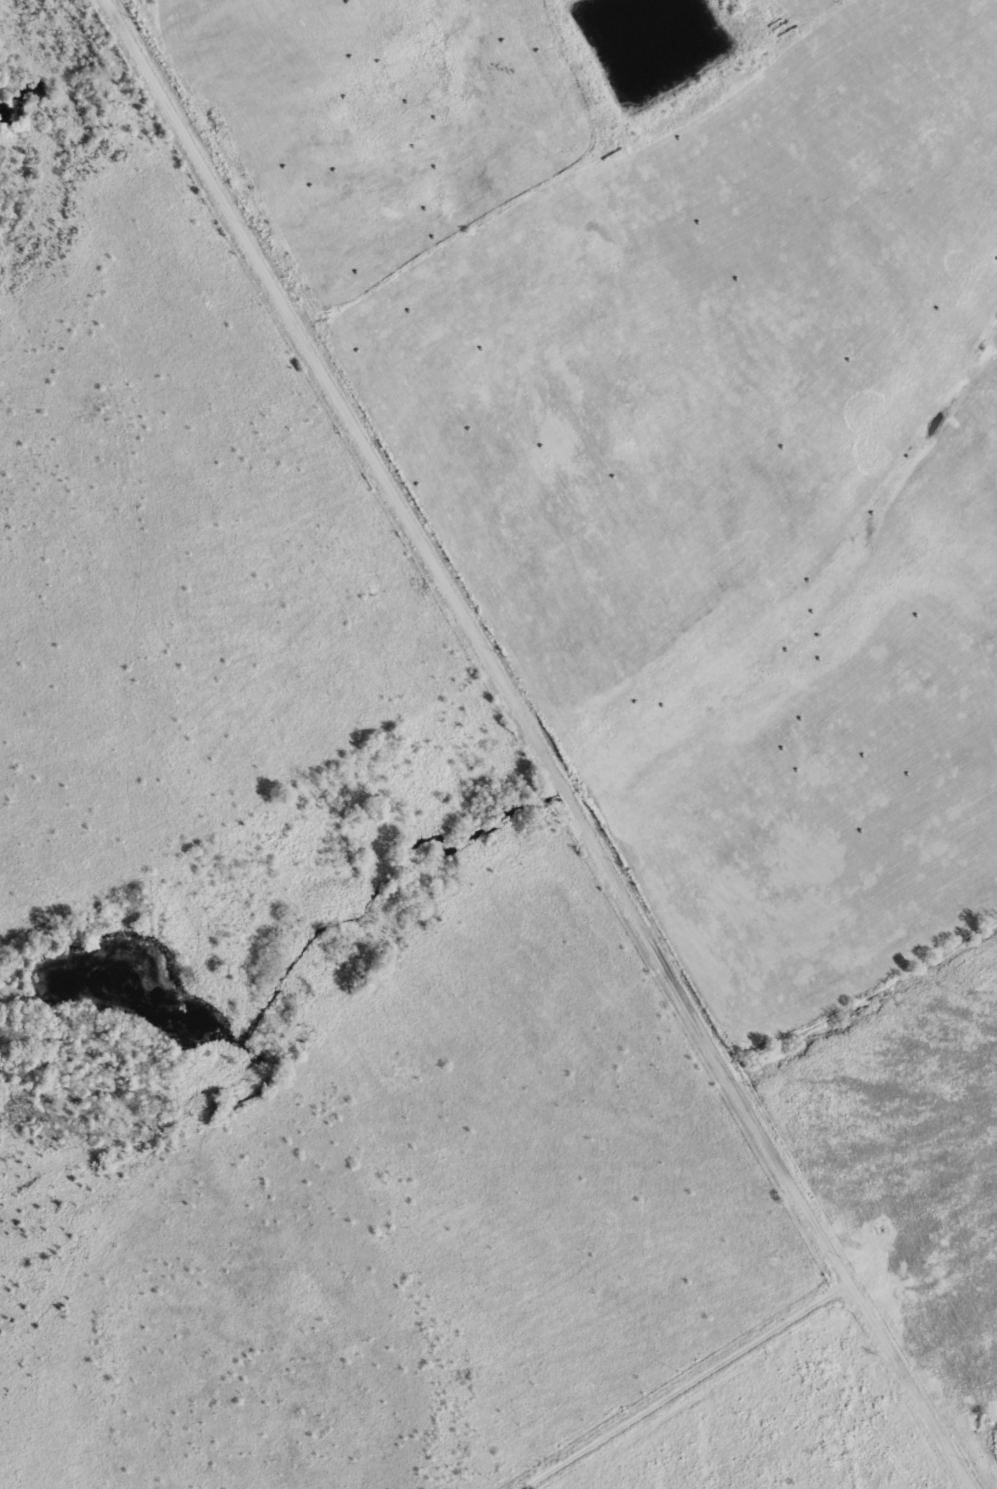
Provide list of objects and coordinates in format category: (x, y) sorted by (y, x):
road: (545, 742)
road: (682, 1385)

